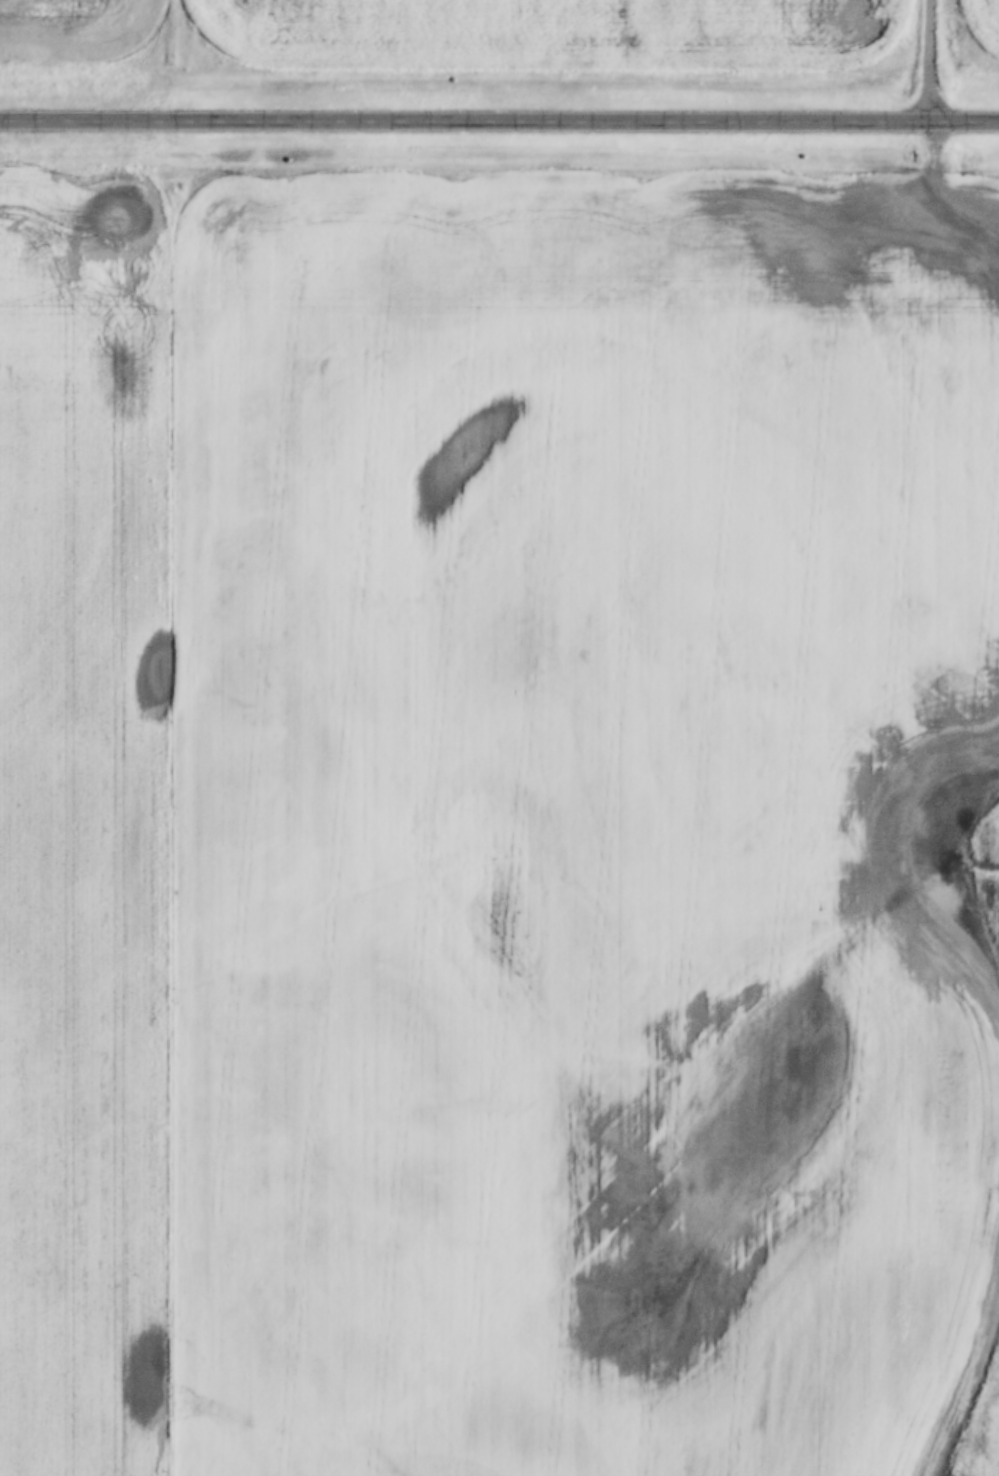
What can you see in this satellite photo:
road: (930, 60)
road: (499, 119)

